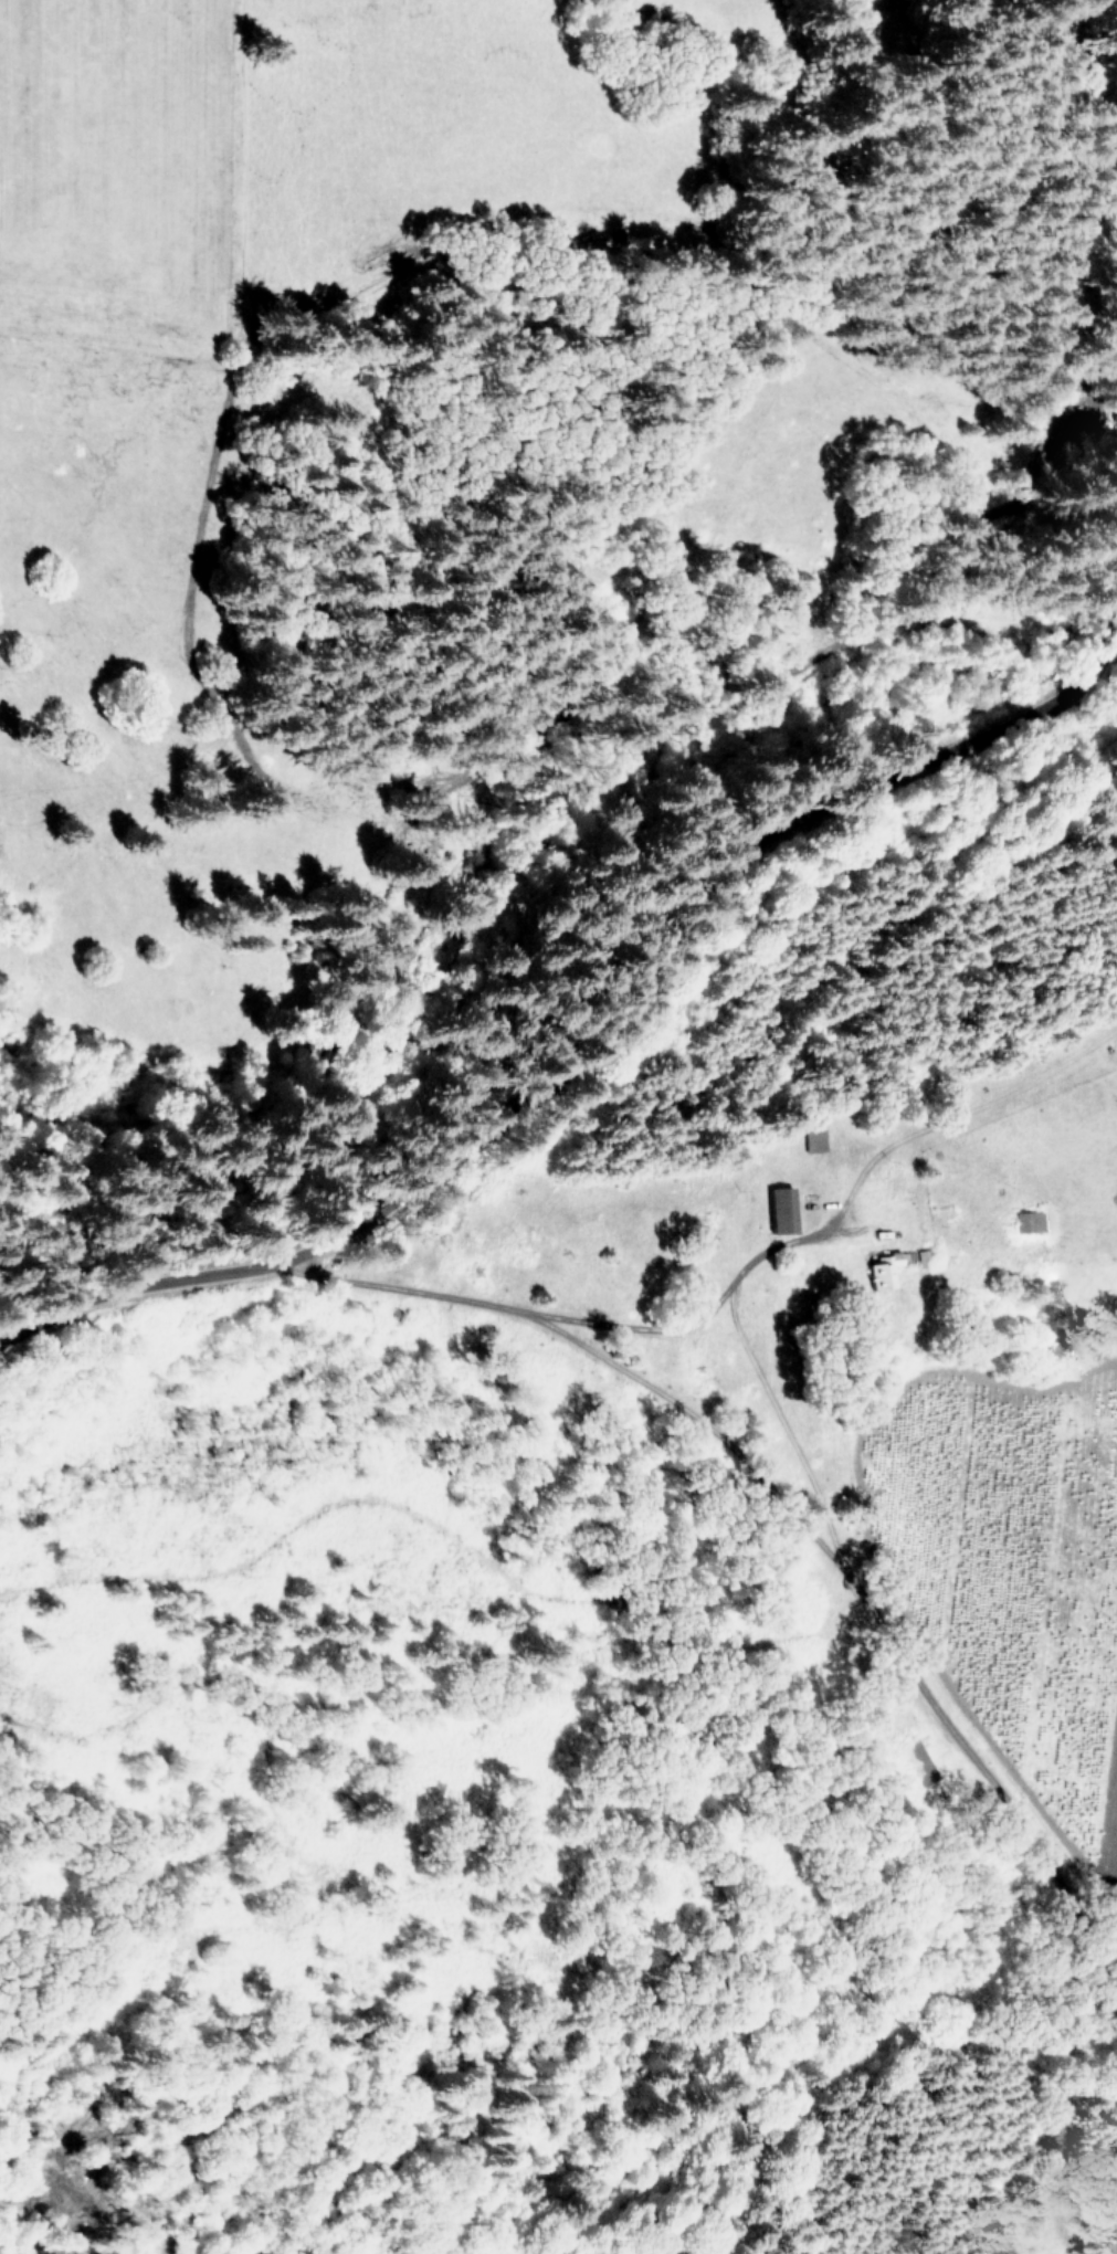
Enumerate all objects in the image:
crop: (256, 197)
road: (608, 1041)
road: (967, 1115)
building: (814, 1140)
building: (782, 1208)
road: (566, 1323)
road: (875, 1624)

